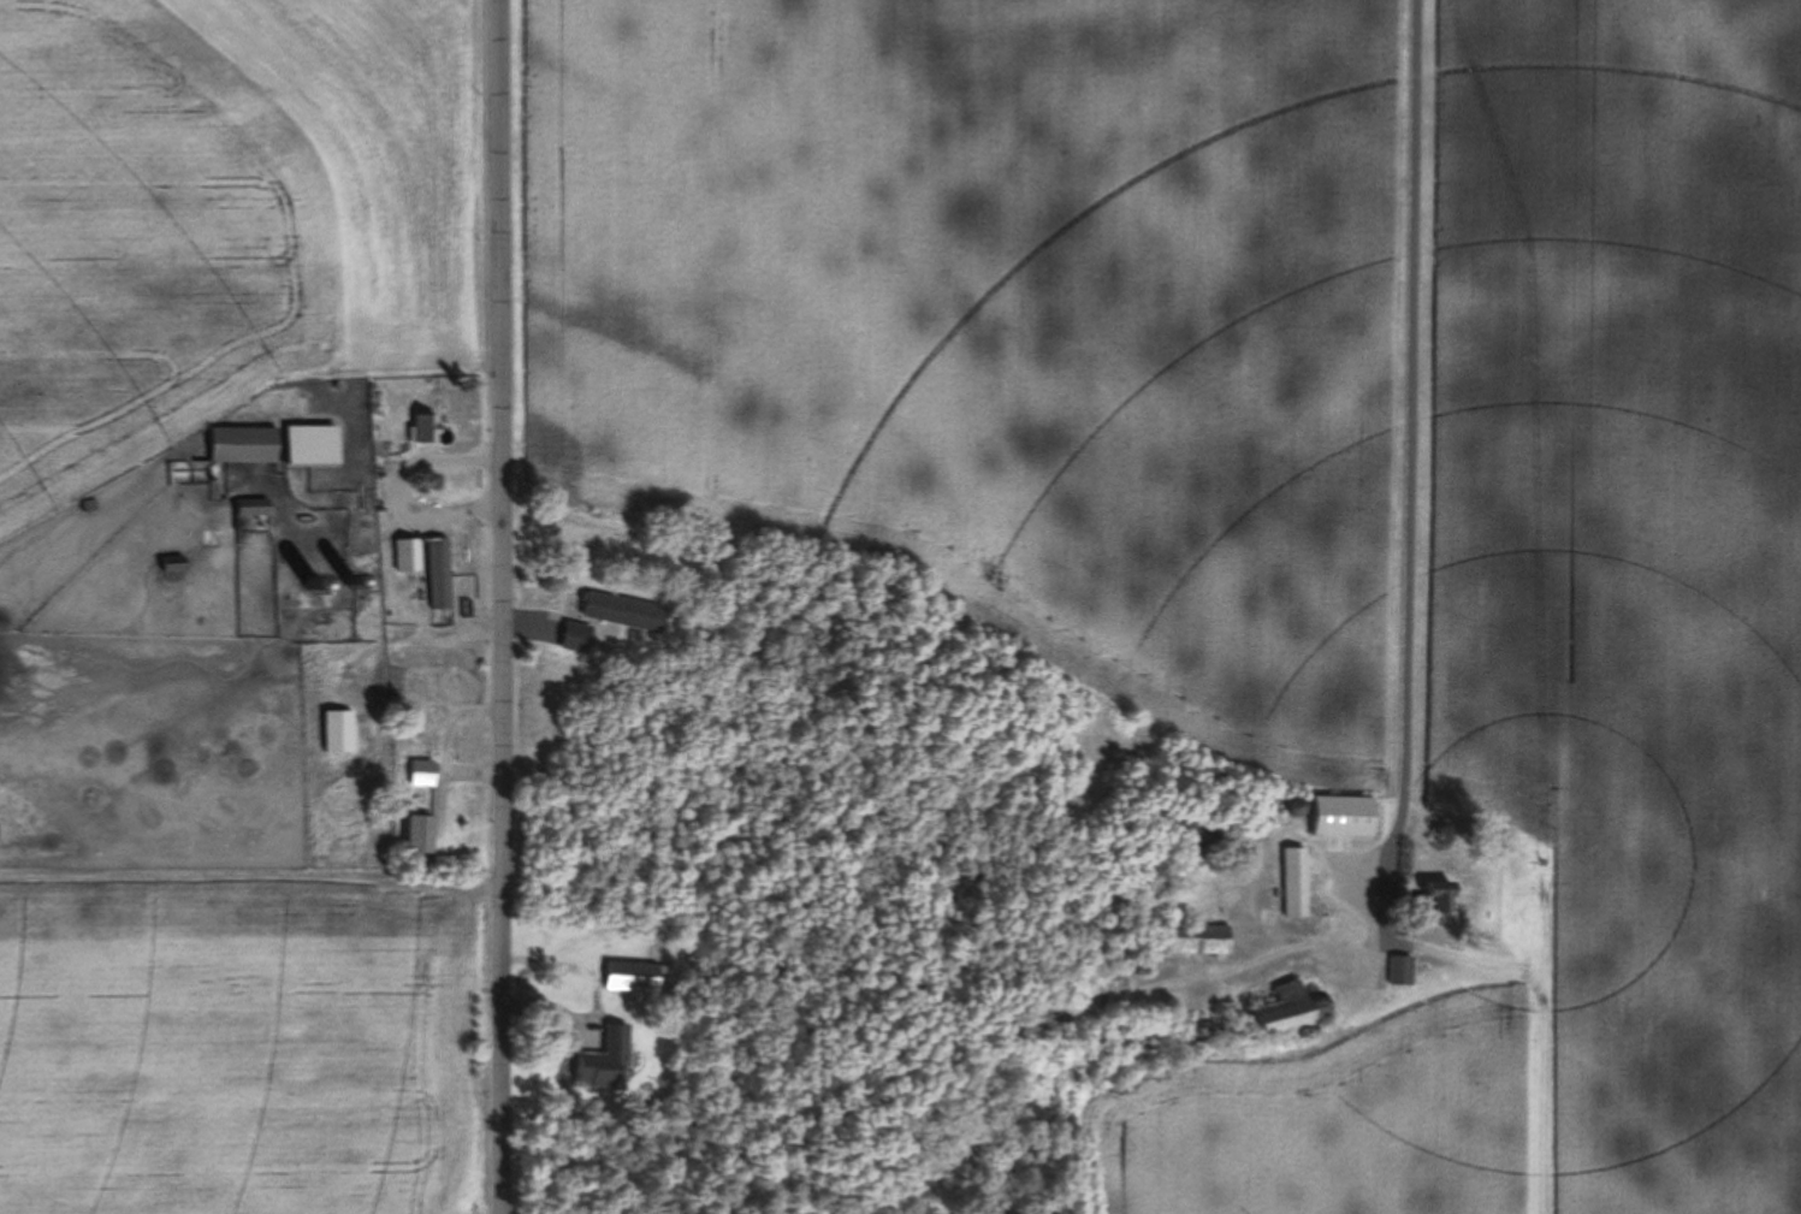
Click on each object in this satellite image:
crop: (212, 243)
crop: (978, 322)
building: (338, 387)
building: (425, 431)
building: (243, 445)
building: (312, 446)
road: (1412, 446)
building: (212, 482)
building: (217, 493)
building: (89, 507)
building: (253, 509)
building: (262, 520)
building: (262, 527)
building: (408, 556)
building: (173, 564)
building: (439, 573)
building: (351, 581)
building: (314, 585)
road: (503, 606)
building: (621, 612)
building: (573, 638)
building: (618, 679)
building: (338, 733)
building: (421, 774)
building: (1168, 795)
building: (1262, 798)
building: (1180, 800)
building: (1296, 807)
building: (1343, 817)
building: (1201, 833)
building: (417, 835)
building: (1295, 882)
building: (1434, 899)
building: (1195, 940)
building: (1138, 970)
building: (1399, 972)
building: (638, 977)
building: (1102, 983)
building: (1291, 1013)
building: (1019, 1026)
crop: (233, 1056)
building: (604, 1060)
crop: (1299, 1135)

